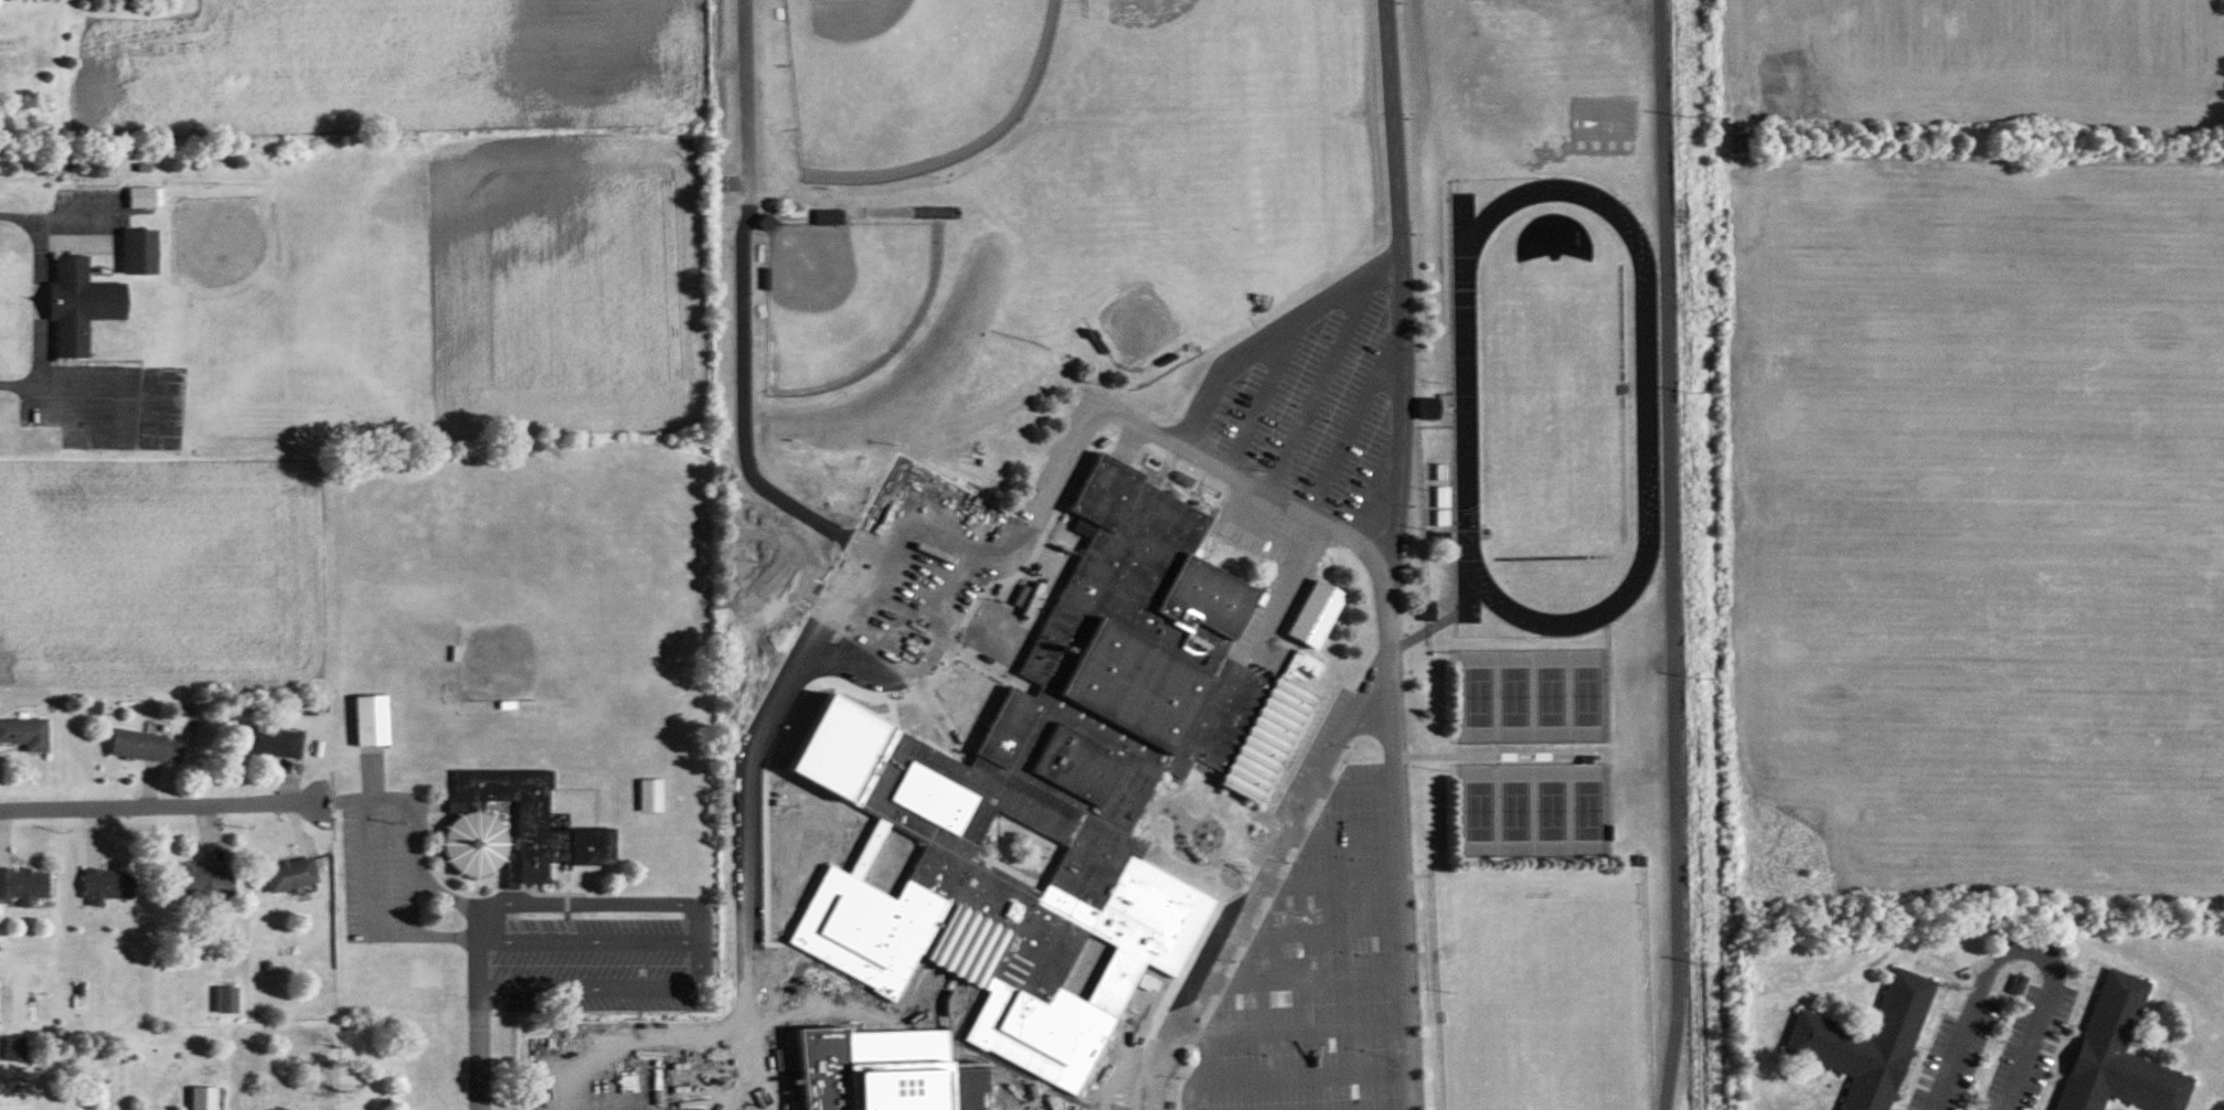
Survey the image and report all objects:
road: (737, 79)
park: (909, 79)
building: (146, 198)
building: (140, 253)
park: (844, 298)
road: (40, 303)
building: (81, 306)
building: (1622, 391)
building: (1429, 409)
building: (1443, 473)
building: (1443, 506)
road: (1666, 555)
road: (1380, 570)
park: (1551, 696)
park: (1588, 696)
park: (1476, 697)
park: (1514, 697)
building: (371, 722)
building: (25, 735)
building: (273, 744)
building: (147, 747)
building: (1055, 781)
building: (650, 796)
road: (155, 805)
park: (1552, 810)
park: (1590, 810)
park: (1478, 811)
park: (1517, 811)
building: (476, 823)
building: (290, 876)
road: (1256, 877)
building: (202, 882)
building: (23, 884)
building: (108, 886)
road: (699, 911)
road: (2021, 949)
road: (611, 983)
building: (226, 1000)
road: (478, 1027)
road: (844, 1032)
building: (1866, 1043)
building: (14, 1048)
building: (2119, 1054)
building: (203, 1098)

